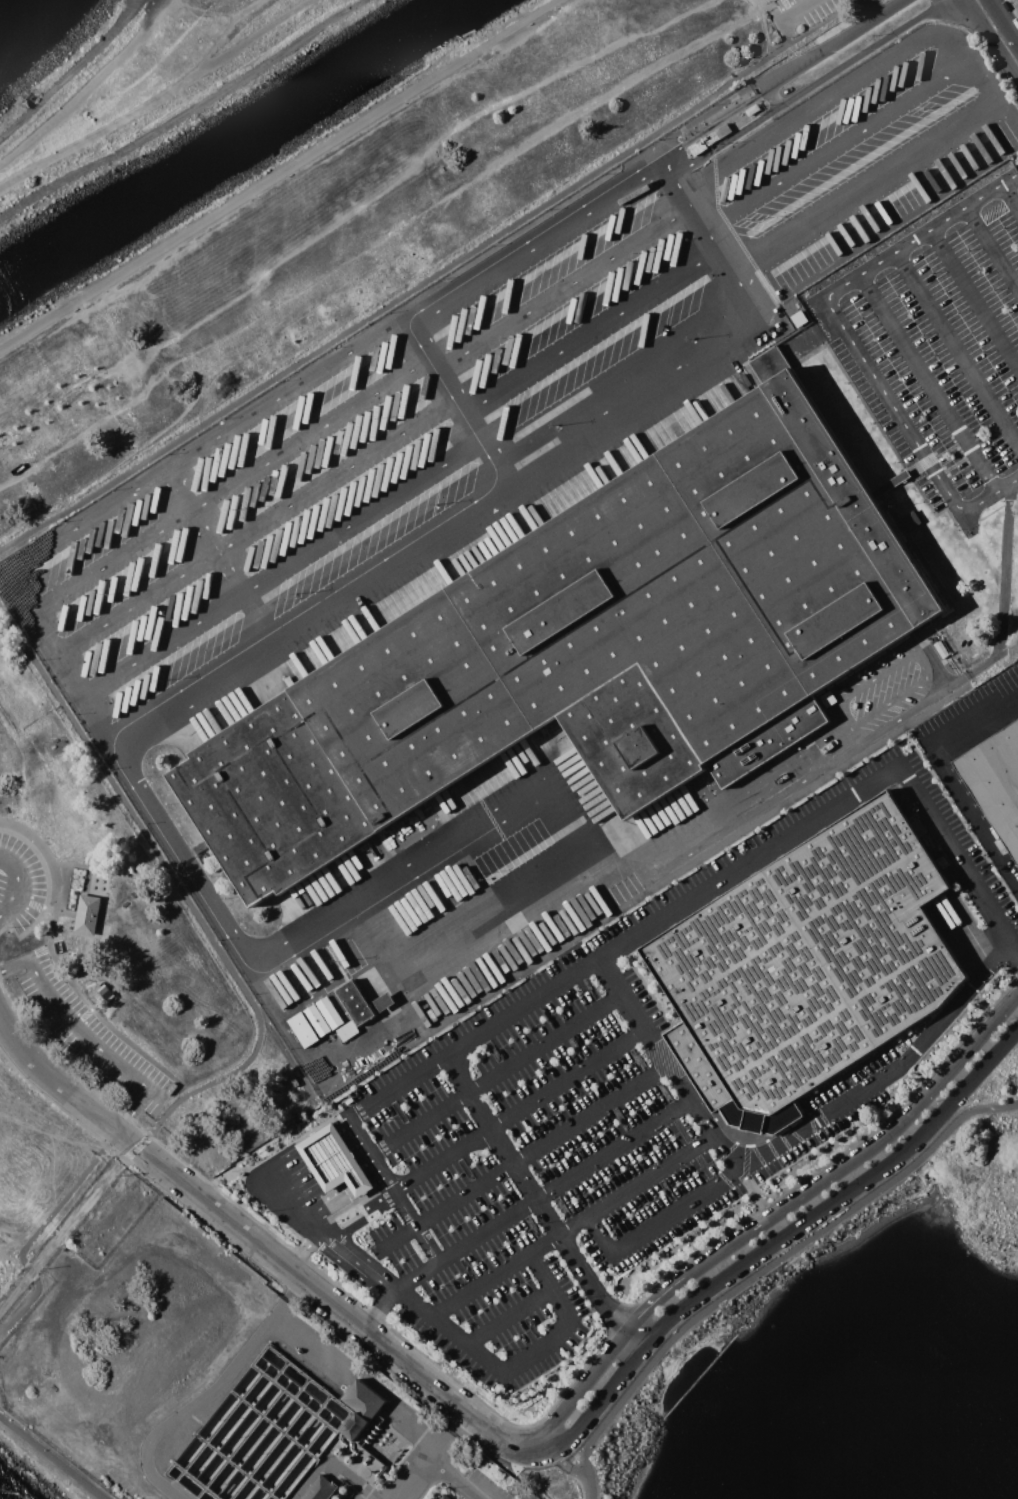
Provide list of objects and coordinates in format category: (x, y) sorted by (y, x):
road: (801, 7)
road: (767, 9)
road: (229, 18)
road: (1003, 23)
road: (988, 45)
road: (73, 68)
road: (777, 78)
park: (147, 89)
road: (805, 89)
road: (158, 96)
road: (825, 97)
building: (753, 110)
road: (188, 114)
building: (723, 131)
building: (703, 144)
road: (837, 145)
road: (883, 174)
road: (285, 177)
road: (1011, 193)
road: (353, 215)
park: (356, 228)
road: (991, 251)
road: (390, 261)
road: (431, 277)
road: (562, 290)
road: (974, 300)
road: (409, 313)
building: (799, 318)
road: (588, 332)
road: (849, 337)
road: (956, 349)
building: (770, 364)
road: (930, 384)
road: (453, 399)
road: (229, 486)
building: (910, 521)
road: (254, 527)
road: (431, 527)
road: (220, 548)
road: (278, 567)
building: (590, 648)
building: (942, 649)
road: (55, 655)
road: (935, 668)
building: (829, 699)
road: (894, 700)
road: (21, 761)
road: (950, 778)
building: (996, 782)
road: (454, 835)
parking lot: (0, 874)
road: (18, 883)
building: (88, 915)
road: (633, 938)
road: (458, 940)
park: (121, 951)
building: (807, 967)
building: (106, 993)
building: (385, 1002)
building: (356, 1003)
building: (329, 1013)
road: (257, 1016)
building: (317, 1021)
parking lot: (87, 1023)
building: (304, 1030)
building: (348, 1031)
road: (88, 1038)
road: (497, 1076)
building: (294, 1081)
road: (62, 1083)
road: (519, 1114)
parking lot: (600, 1117)
road: (345, 1124)
road: (319, 1141)
road: (356, 1142)
road: (781, 1145)
road: (541, 1147)
road: (865, 1150)
road: (330, 1159)
road: (367, 1159)
building: (333, 1161)
gas station: (333, 1161)
road: (166, 1168)
park: (941, 1170)
park: (50, 1172)
road: (377, 1175)
road: (341, 1176)
road: (301, 1177)
road: (361, 1185)
road: (294, 1188)
road: (312, 1195)
road: (542, 1198)
road: (331, 1203)
road: (540, 1207)
road: (654, 1226)
road: (19, 1231)
road: (572, 1231)
road: (784, 1236)
road: (307, 1250)
road: (12, 1257)
road: (359, 1263)
road: (767, 1271)
road: (330, 1298)
road: (654, 1302)
road: (381, 1310)
road: (507, 1319)
road: (510, 1368)
wastewater plant: (212, 1377)
road: (584, 1385)
road: (211, 1392)
building: (364, 1400)
building: (356, 1427)
road: (446, 1433)
road: (505, 1438)
road: (51, 1457)
park: (43, 1464)
road: (566, 1464)
park: (610, 1466)
road: (410, 1477)
road: (451, 1478)
building: (321, 1489)
building: (445, 1497)

